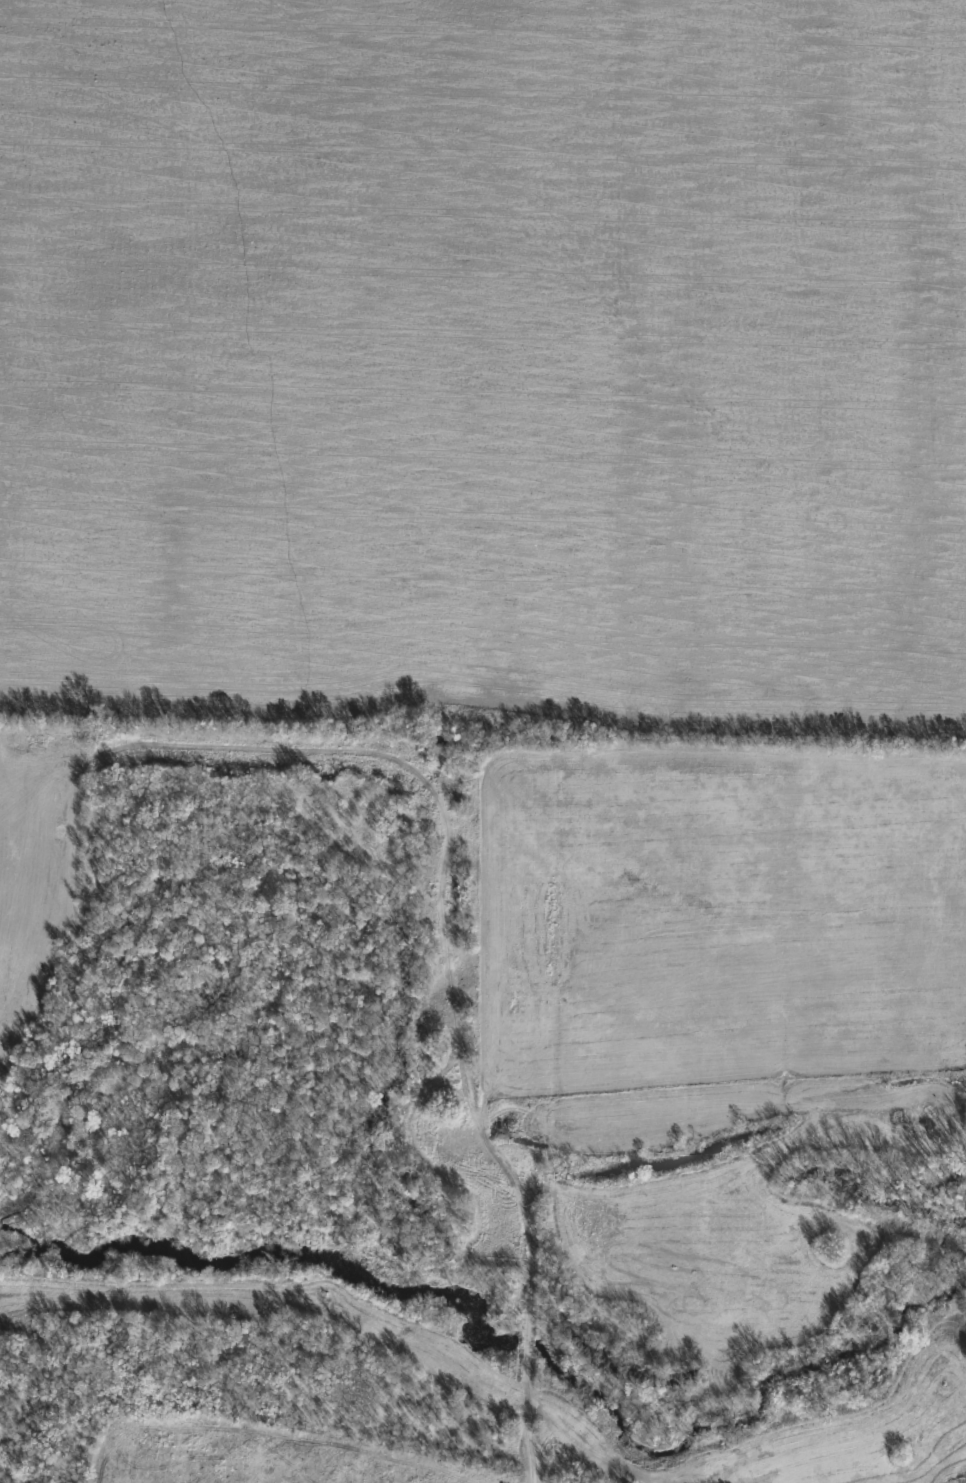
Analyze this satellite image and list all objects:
road: (523, 1474)

